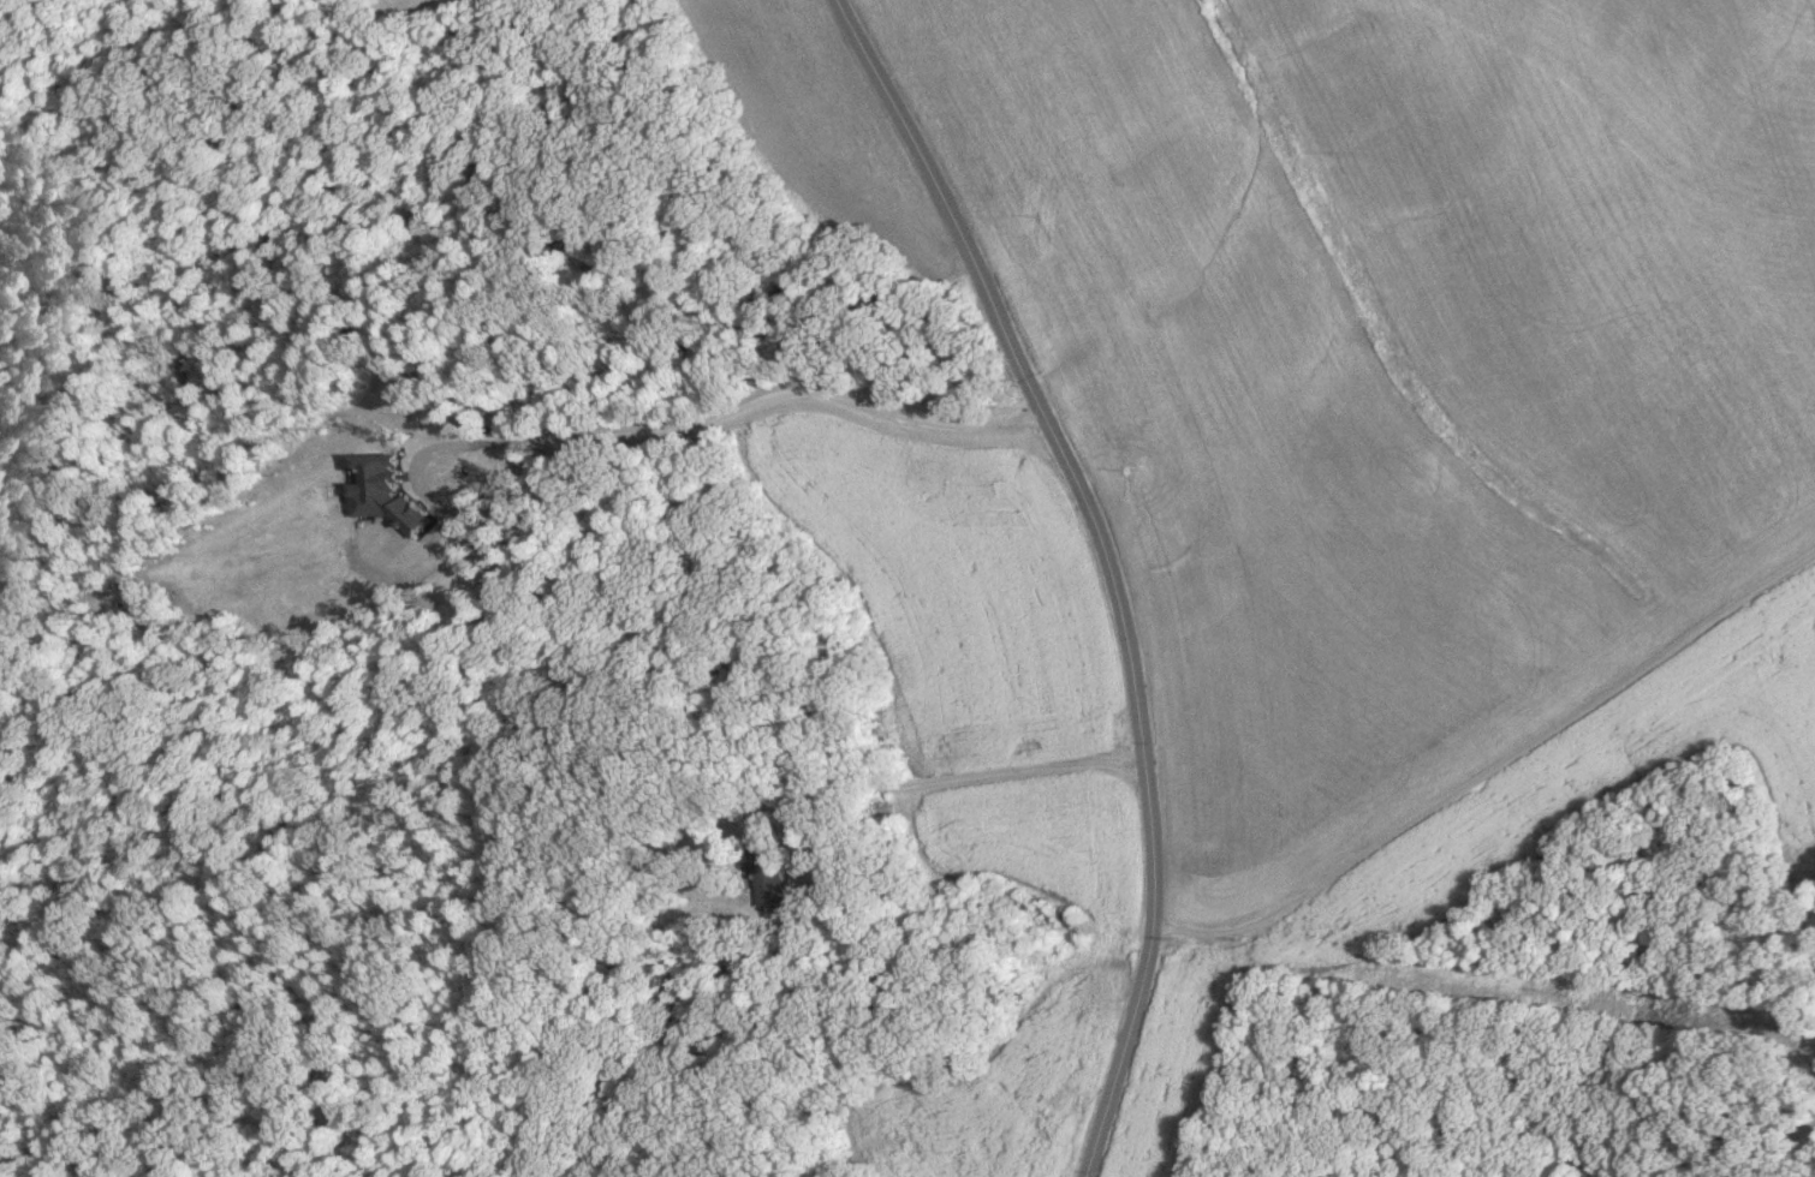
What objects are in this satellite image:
road: (643, 430)
road: (1103, 563)
road: (1492, 767)
road: (945, 781)
building: (770, 872)

